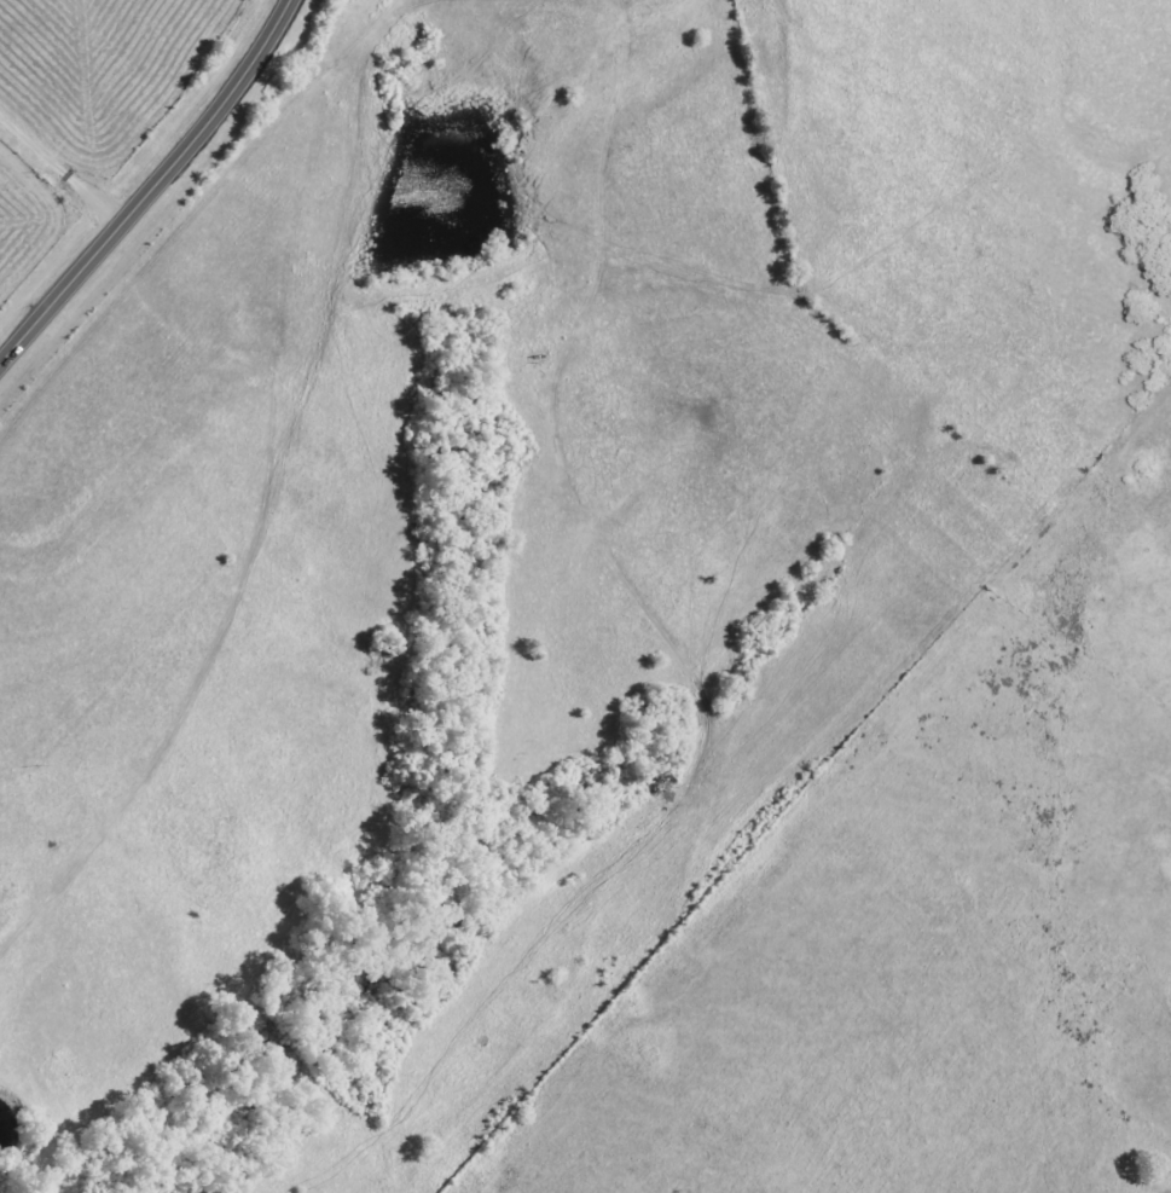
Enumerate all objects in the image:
road: (60, 173)
road: (157, 191)

